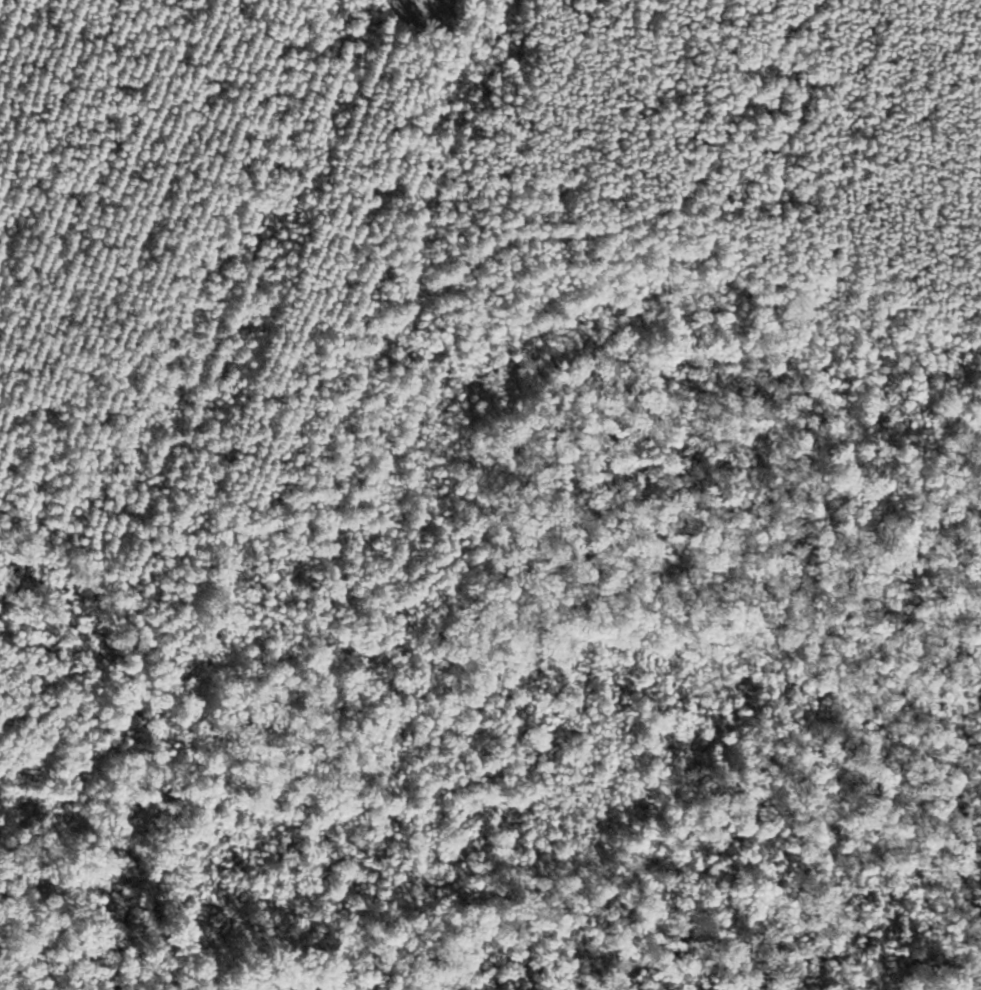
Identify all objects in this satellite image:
river: (502, 989)

